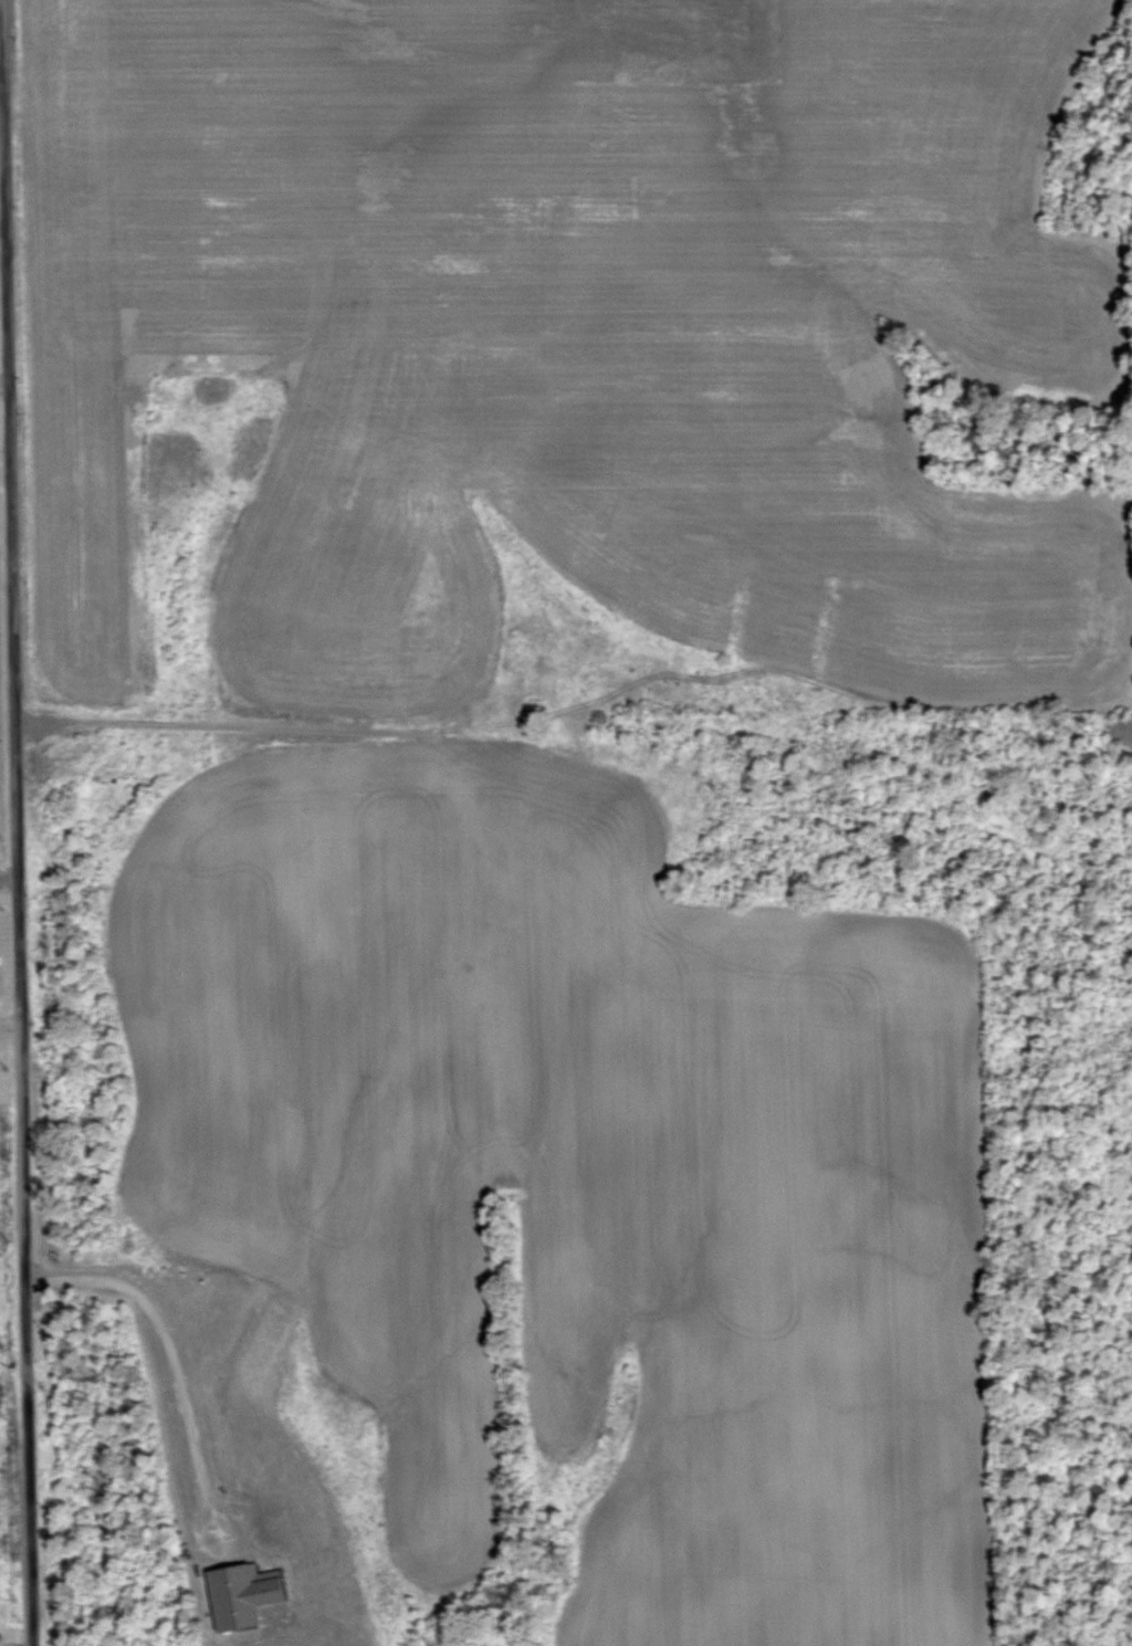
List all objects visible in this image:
road: (2, 381)
road: (229, 726)
road: (14, 849)
road: (8, 879)
road: (171, 1354)

